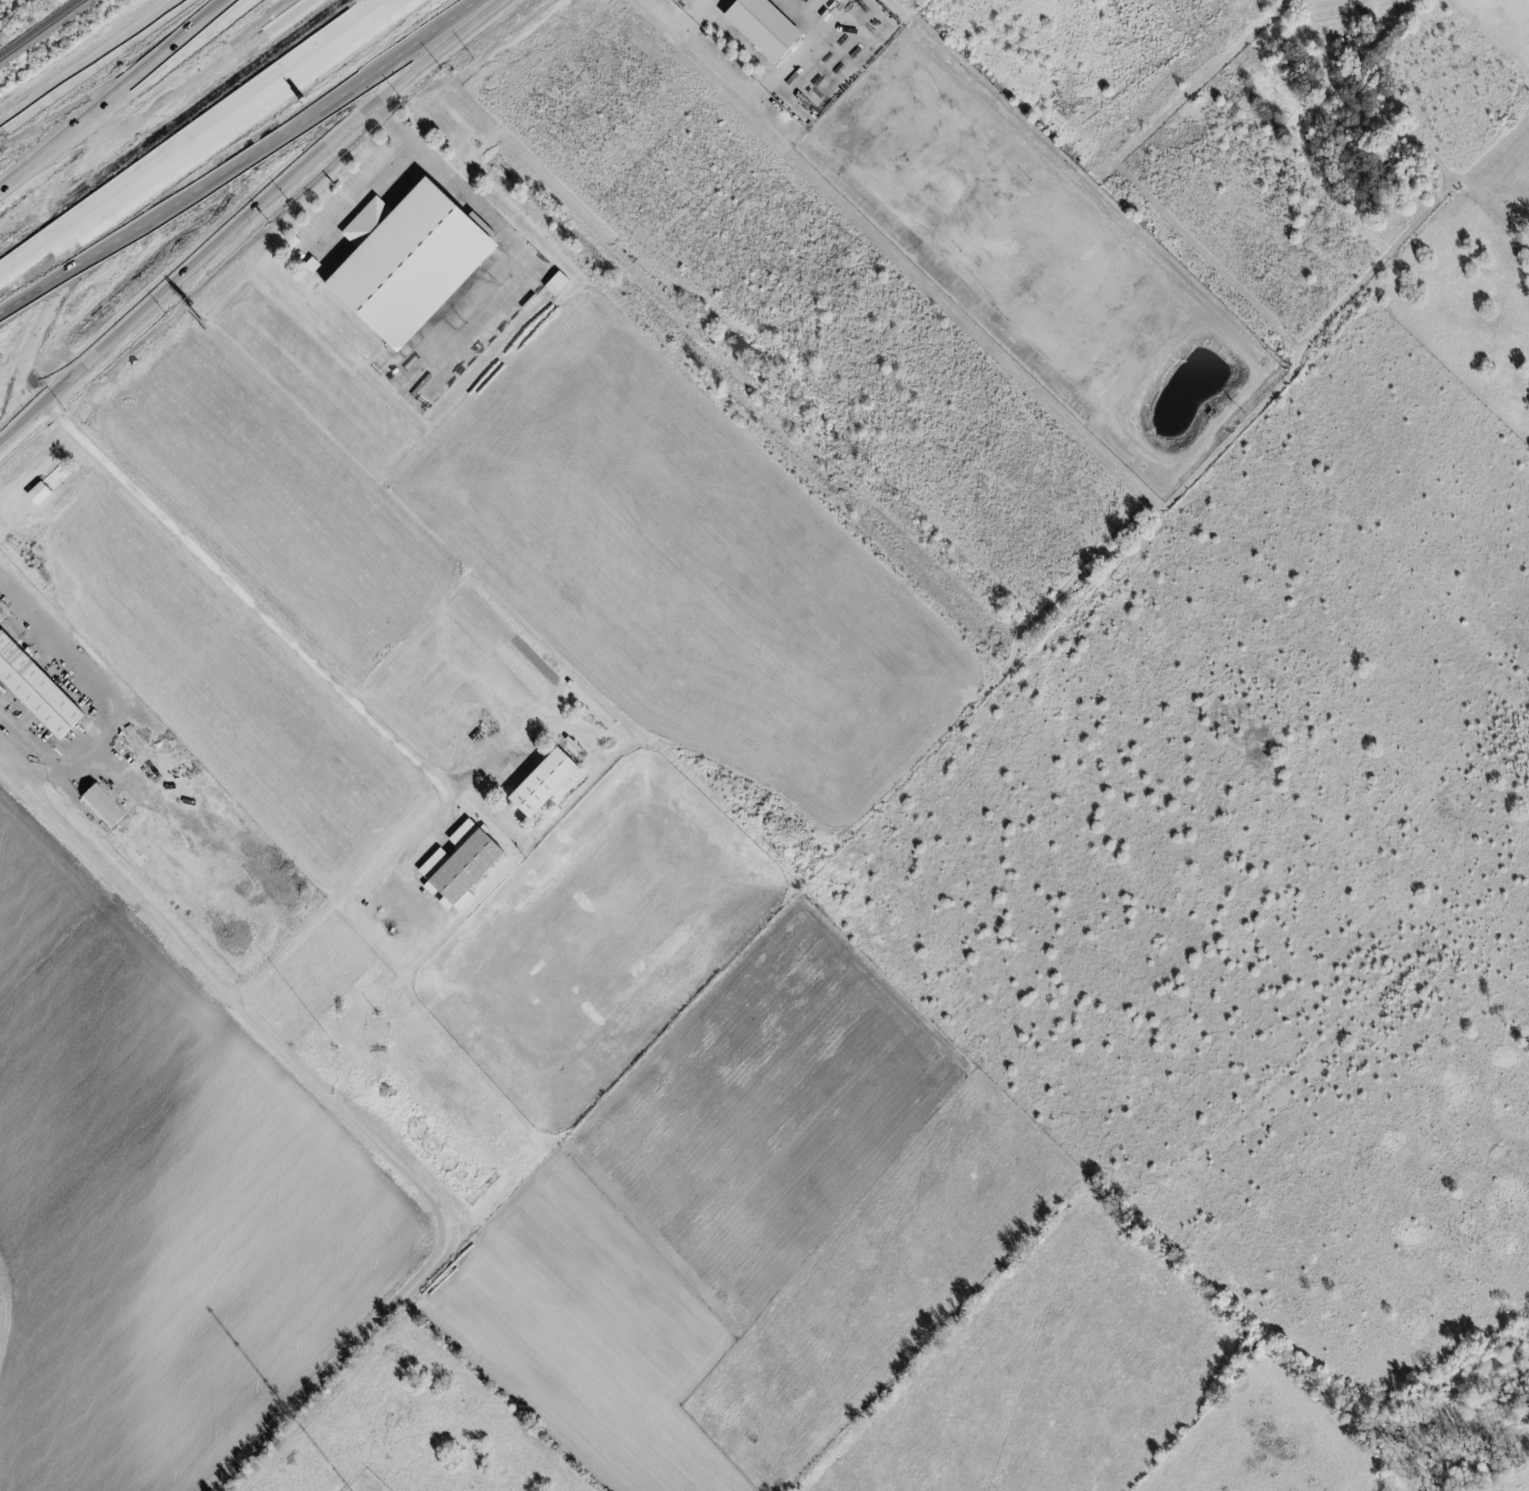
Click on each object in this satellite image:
road: (268, 18)
building: (767, 27)
railway: (42, 30)
road: (685, 38)
road: (92, 66)
road: (267, 105)
road: (148, 107)
road: (196, 141)
road: (391, 173)
road: (242, 216)
road: (520, 251)
building: (559, 284)
building: (50, 483)
road: (278, 631)
building: (37, 687)
road: (106, 687)
building: (547, 782)
building: (104, 806)
road: (108, 865)
building: (463, 865)

